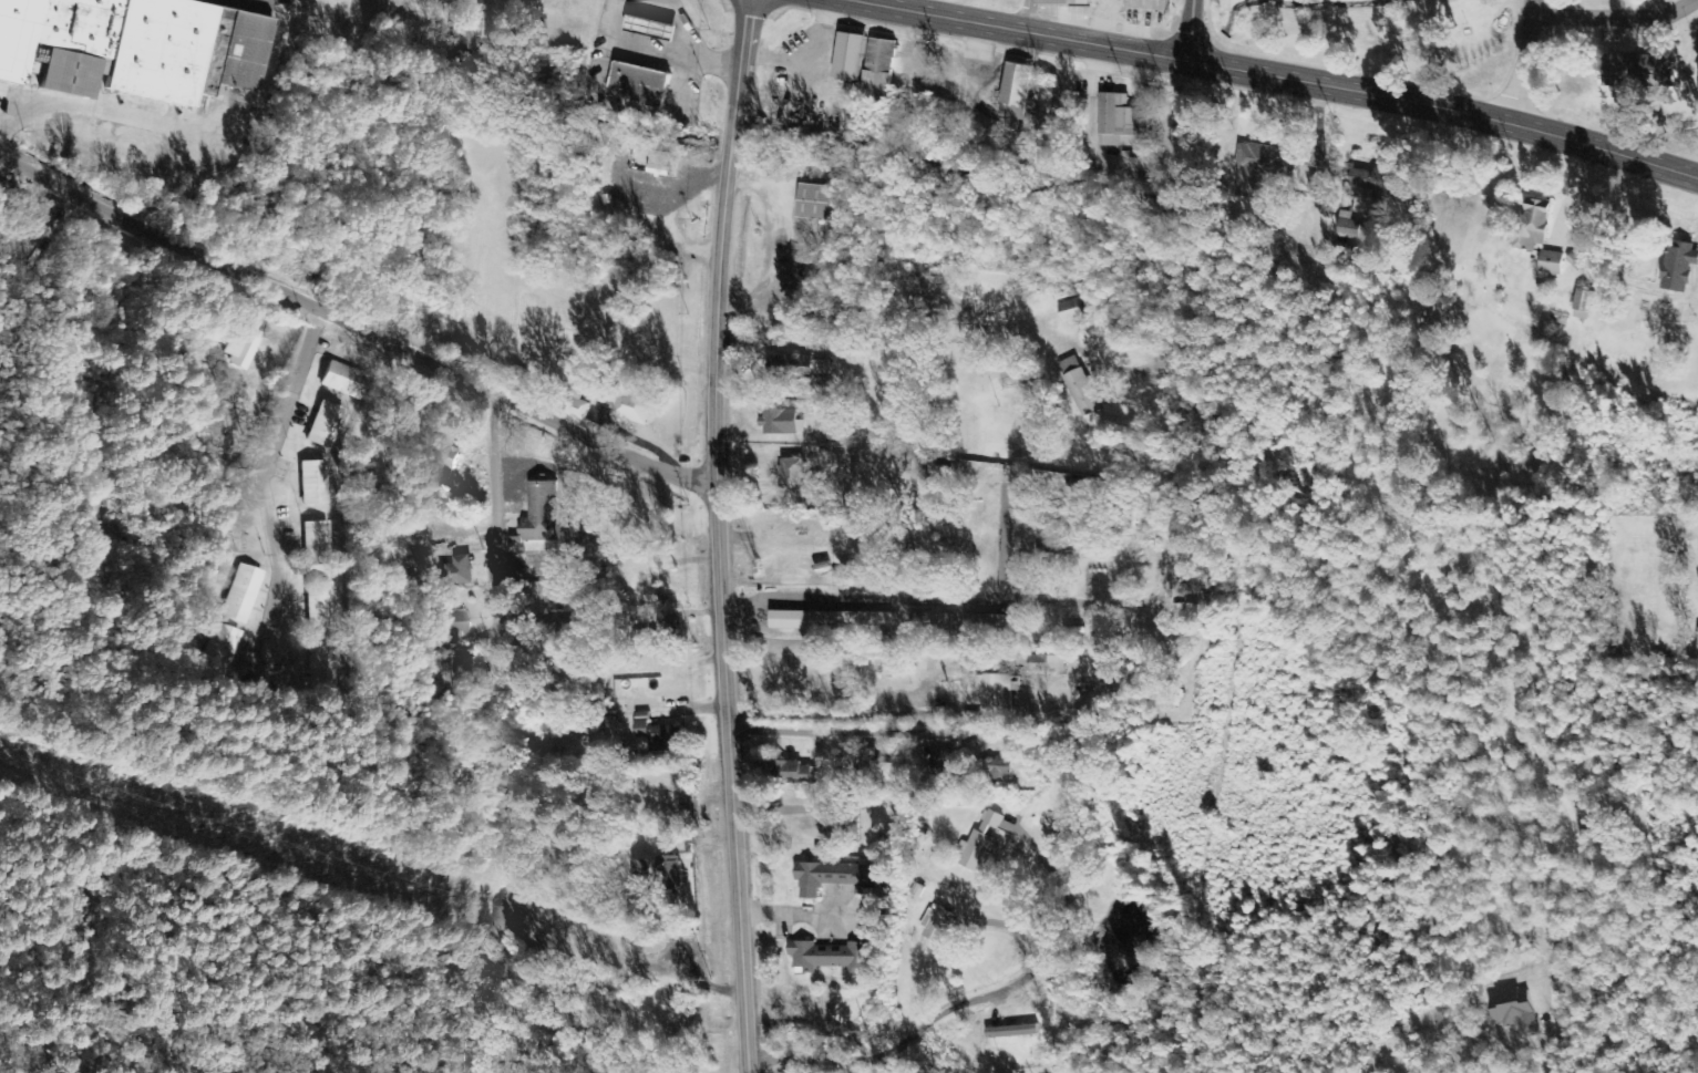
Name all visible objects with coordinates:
road: (661, 0)
road: (663, 0)
building: (1063, 1)
road: (250, 2)
building: (1148, 4)
road: (1027, 10)
road: (1615, 19)
road: (676, 21)
road: (1042, 22)
road: (1193, 24)
building: (463, 38)
building: (58, 41)
road: (660, 44)
building: (157, 50)
building: (212, 51)
building: (241, 51)
building: (848, 56)
road: (1523, 62)
building: (879, 65)
building: (1637, 71)
road: (682, 75)
building: (638, 84)
building: (1013, 91)
road: (1445, 109)
building: (1263, 162)
building: (1377, 179)
building: (6, 189)
building: (819, 203)
road: (1179, 218)
building: (1529, 227)
building: (1551, 262)
building: (1678, 262)
building: (1583, 305)
building: (1069, 310)
road: (354, 326)
building: (241, 348)
building: (788, 367)
building: (820, 368)
building: (343, 380)
building: (1078, 386)
building: (627, 404)
building: (576, 405)
building: (780, 422)
building: (323, 425)
building: (401, 443)
building: (444, 456)
building: (791, 474)
building: (312, 483)
building: (541, 513)
road: (270, 526)
road: (718, 535)
road: (1002, 537)
road: (494, 540)
building: (899, 540)
building: (316, 543)
building: (456, 571)
building: (528, 571)
road: (1128, 585)
building: (241, 595)
road: (924, 598)
building: (319, 605)
building: (825, 620)
building: (928, 622)
building: (989, 625)
building: (446, 627)
building: (1697, 651)
building: (220, 653)
building: (1047, 664)
building: (322, 666)
building: (887, 667)
building: (997, 694)
road: (920, 733)
building: (655, 734)
building: (877, 765)
building: (998, 770)
building: (796, 773)
building: (852, 826)
building: (978, 843)
building: (657, 876)
building: (835, 878)
building: (936, 925)
building: (1512, 1011)
building: (1010, 1032)

